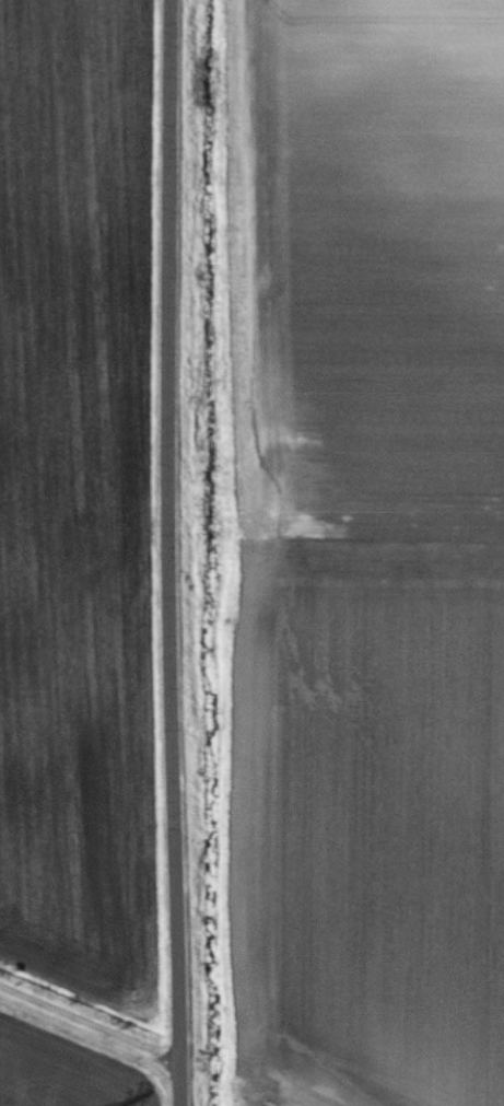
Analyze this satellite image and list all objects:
road: (177, 277)
road: (183, 829)

